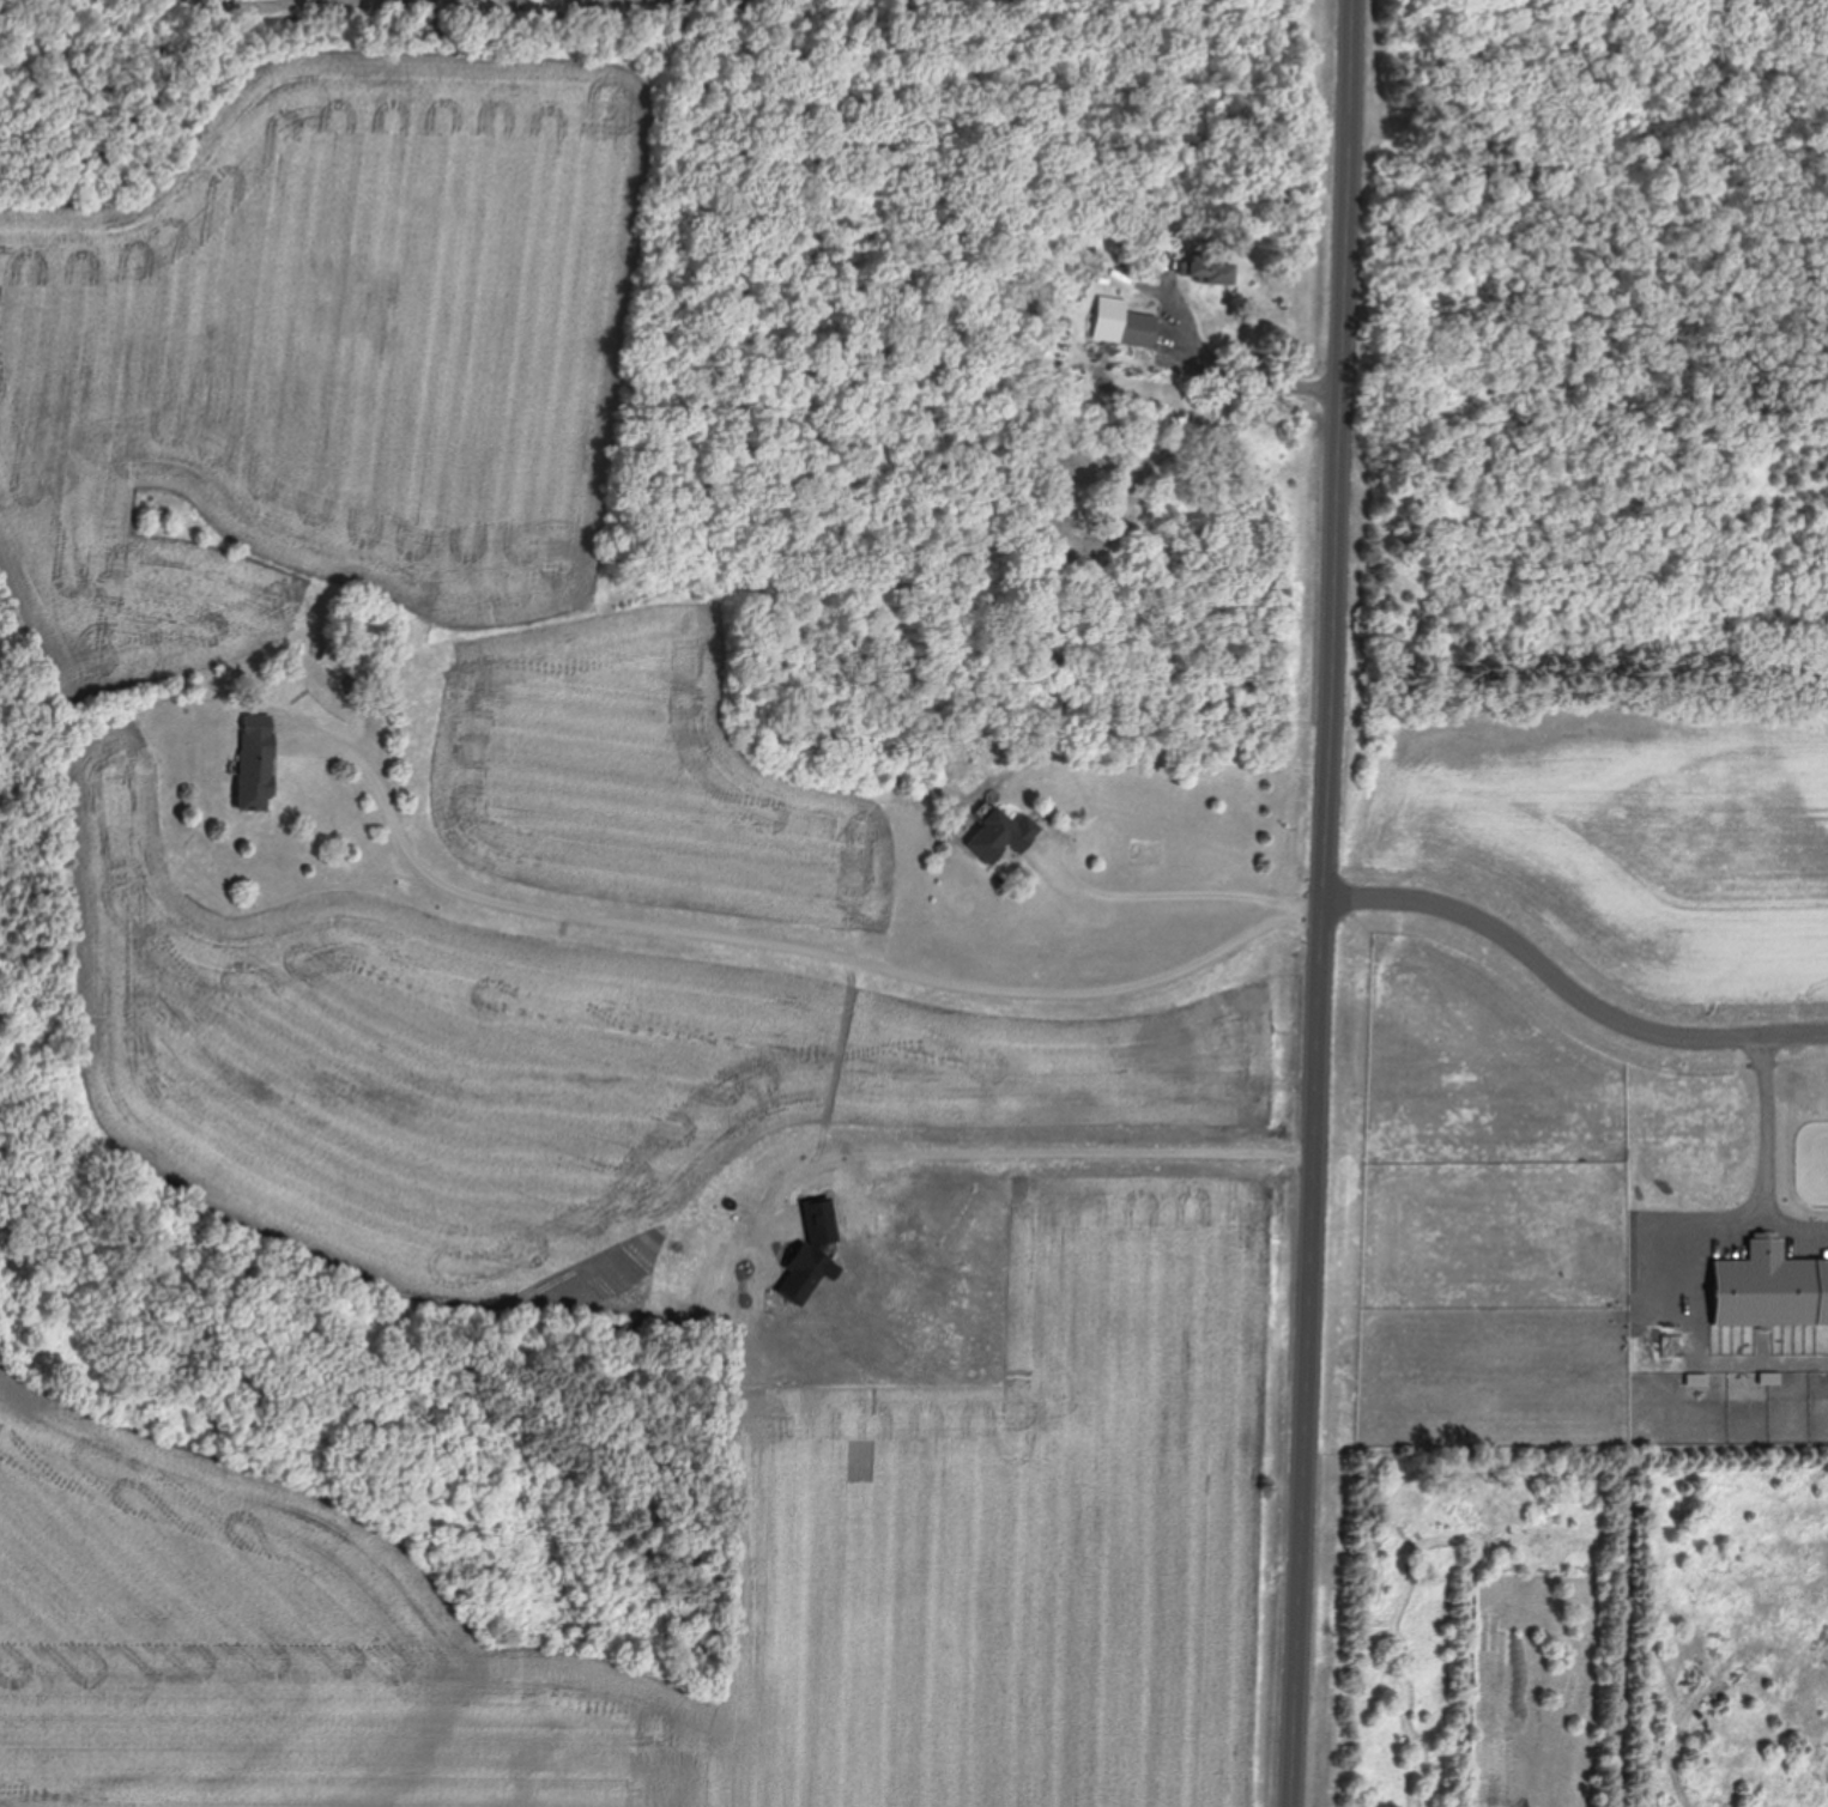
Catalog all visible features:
building: (1206, 269)
building: (1121, 323)
park: (1592, 344)
road: (1241, 377)
road: (1340, 451)
building: (156, 521)
building: (349, 661)
building: (253, 764)
building: (1003, 837)
road: (1167, 896)
road: (780, 942)
road: (1569, 986)
road: (1030, 1152)
road: (1768, 1156)
road: (1308, 1354)

